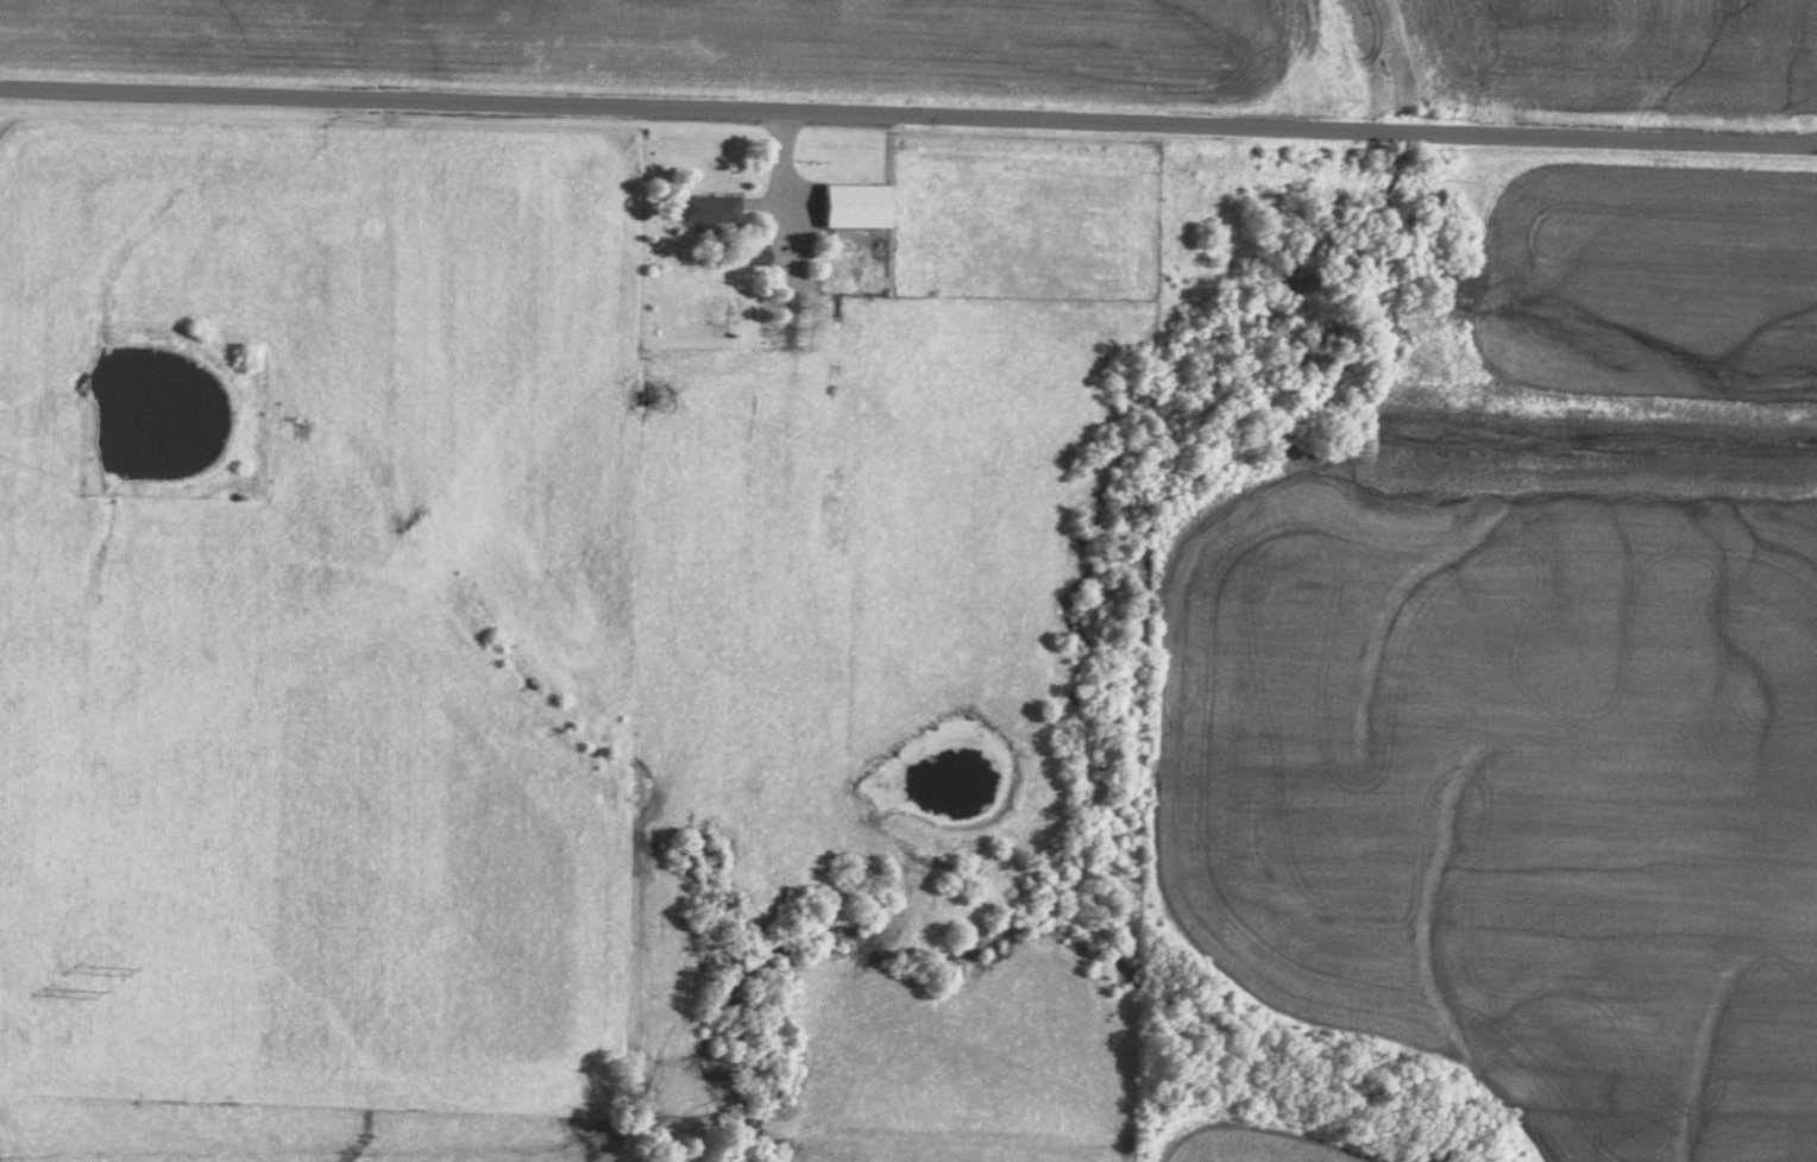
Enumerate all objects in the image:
road: (907, 124)
building: (855, 206)
building: (708, 209)
road: (782, 221)
building: (757, 256)
power tower: (115, 965)
power tower: (75, 993)

